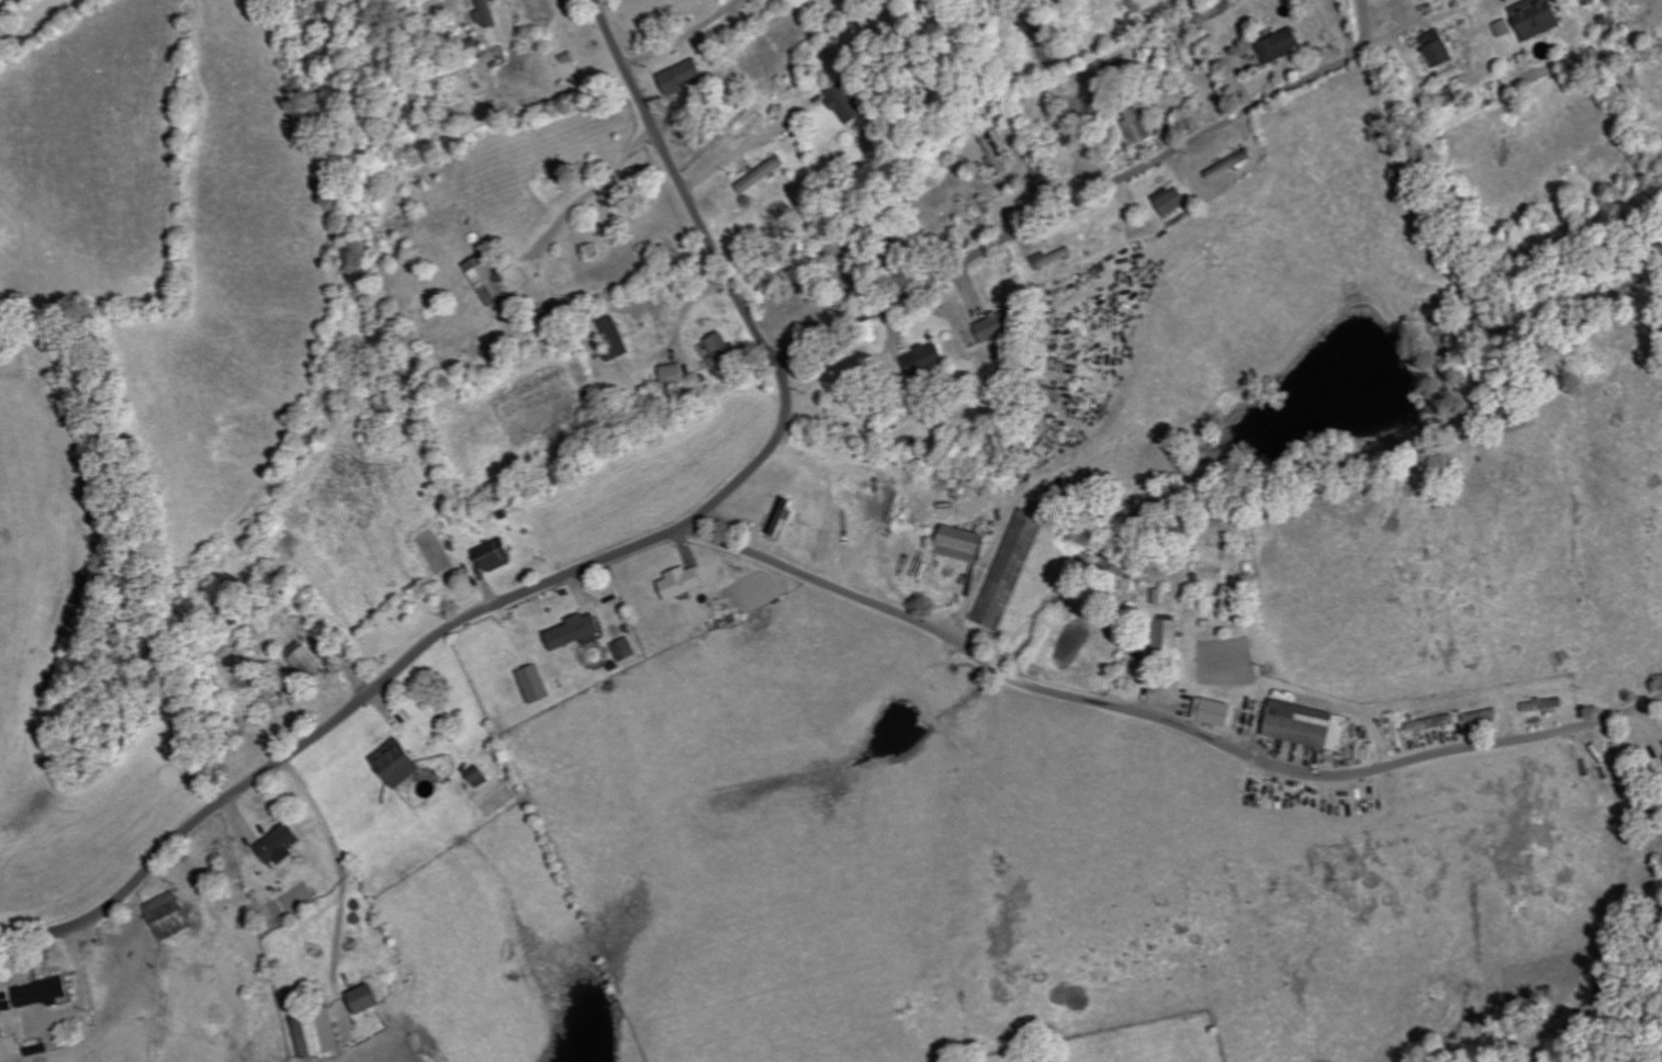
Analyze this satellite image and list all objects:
building: (490, 14)
building: (1541, 18)
building: (1283, 46)
building: (1441, 49)
building: (685, 77)
building: (847, 102)
building: (1138, 128)
building: (1002, 151)
building: (764, 176)
road: (1092, 193)
building: (1175, 201)
building: (492, 282)
building: (1000, 326)
building: (617, 340)
building: (725, 352)
building: (928, 360)
building: (676, 374)
building: (783, 517)
building: (966, 545)
building: (498, 554)
road: (594, 565)
building: (1012, 569)
building: (684, 584)
building: (1161, 597)
building: (726, 623)
building: (579, 633)
building: (1171, 639)
building: (626, 649)
building: (307, 660)
building: (536, 685)
building: (1217, 713)
road: (1164, 720)
building: (1310, 726)
building: (400, 765)
building: (481, 778)
building: (281, 844)
building: (172, 917)
road: (85, 987)
building: (47, 994)
building: (368, 1001)
building: (321, 1035)

